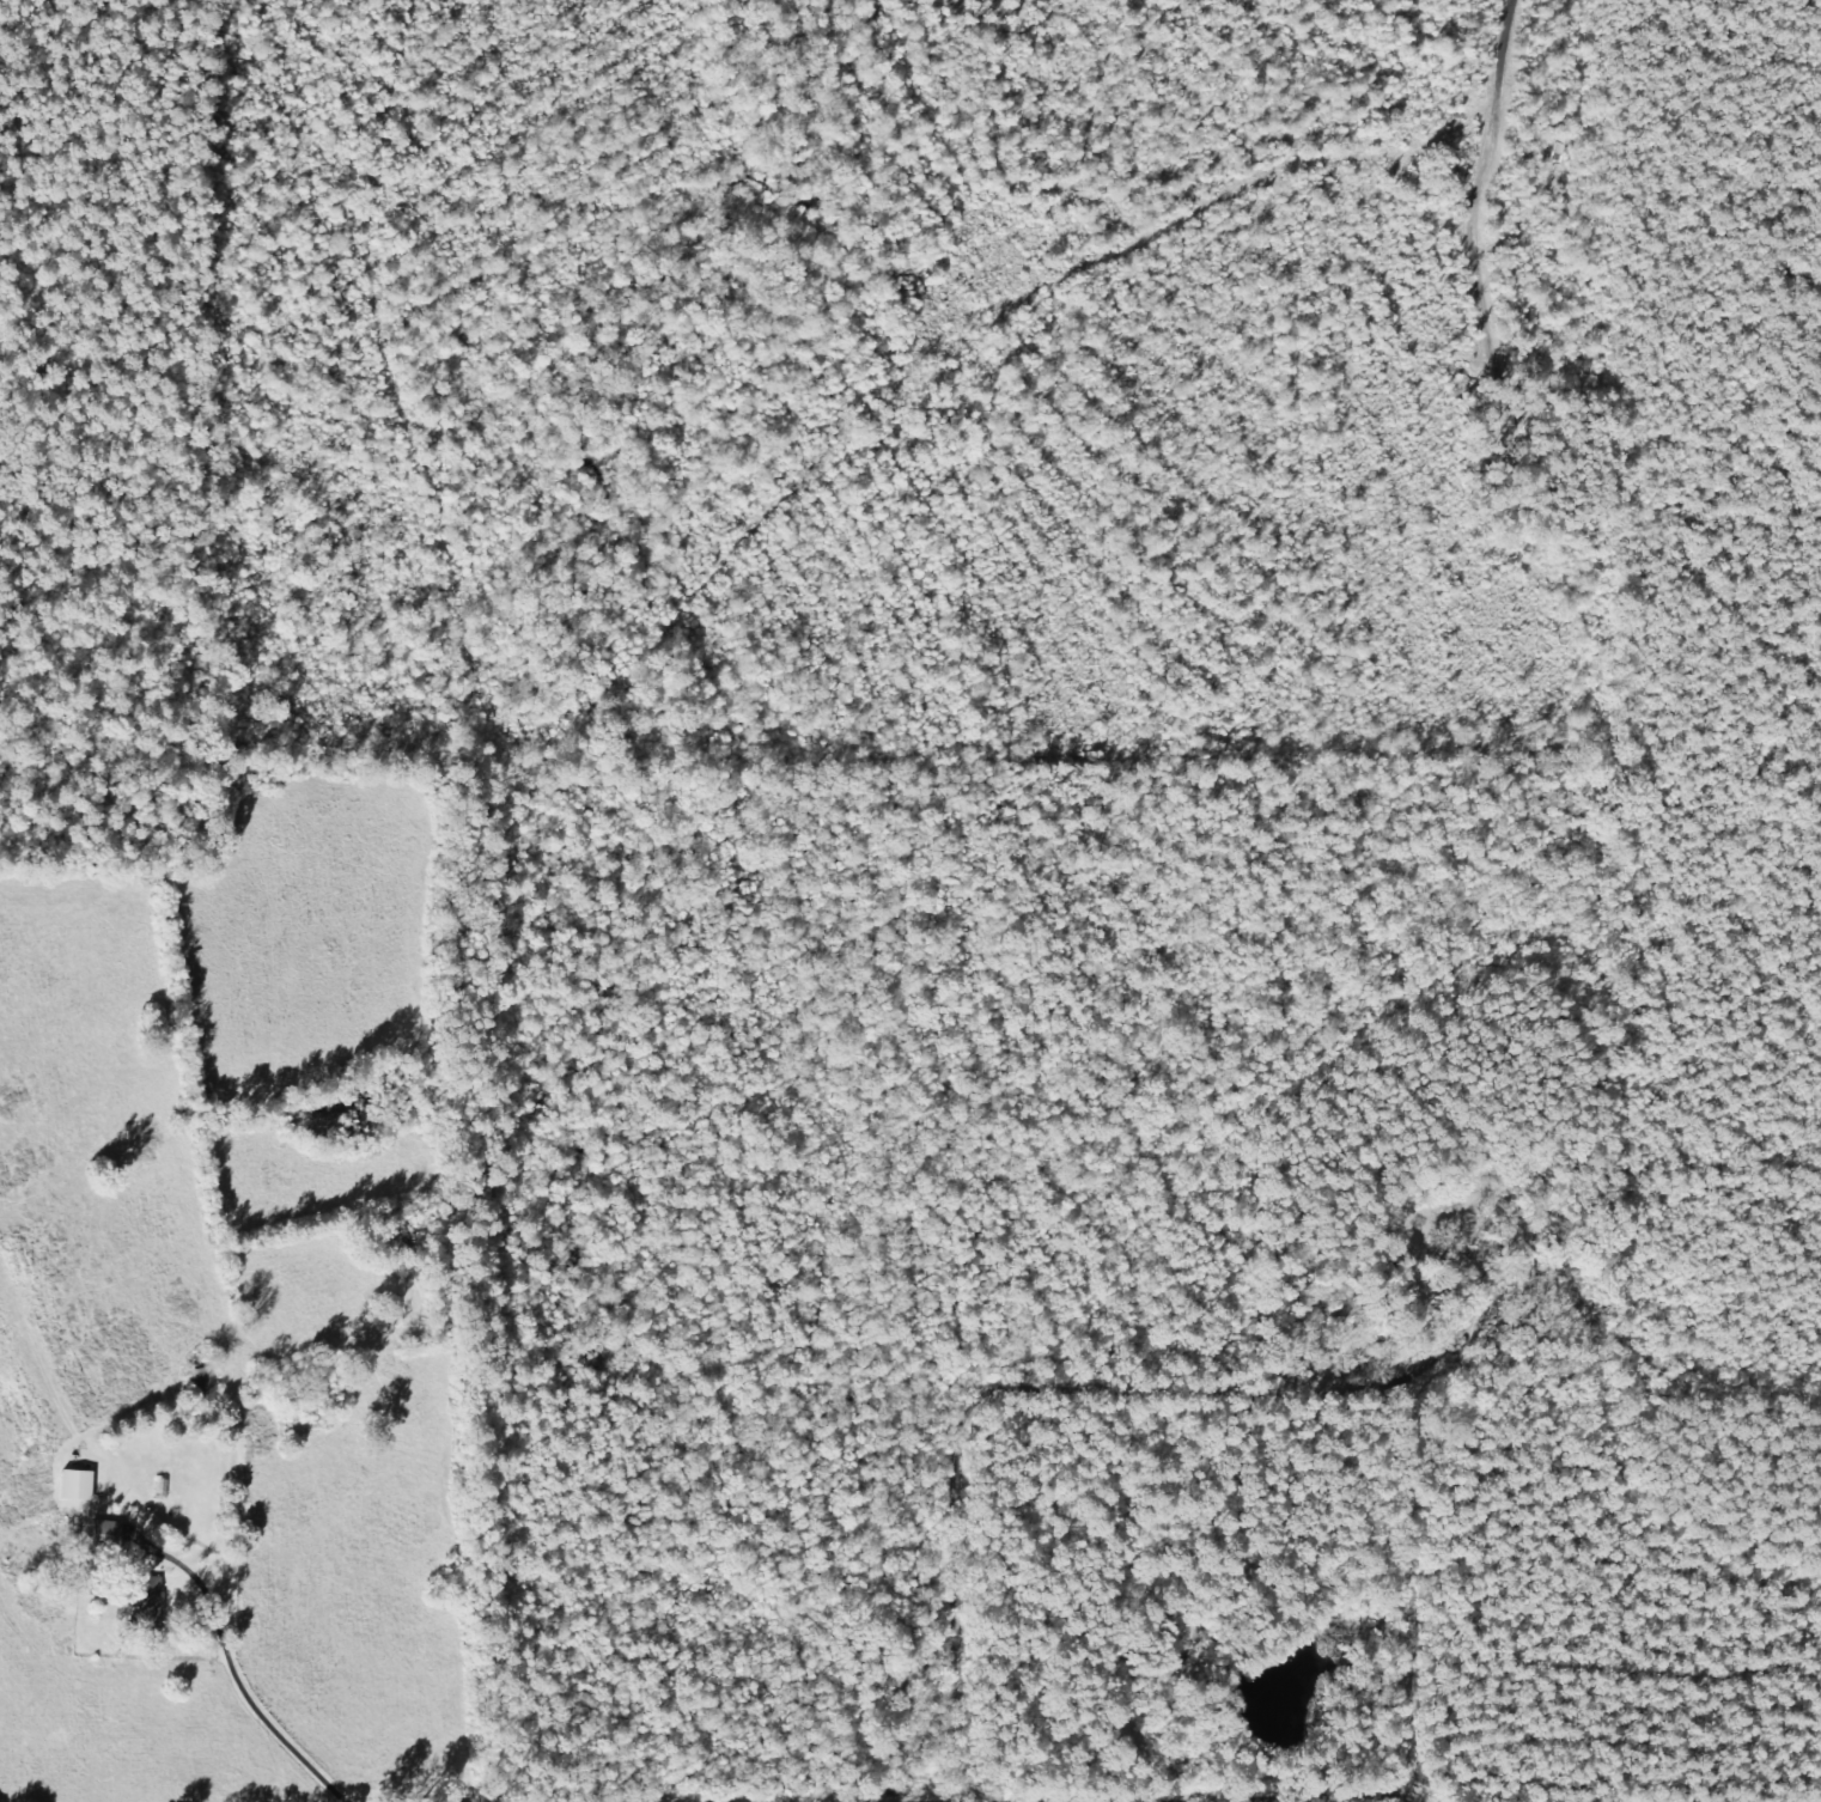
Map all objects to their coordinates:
park: (1534, 464)
road: (1058, 1395)
building: (77, 1486)
building: (108, 1535)
building: (151, 1599)
road: (220, 1670)
road: (1342, 1798)

